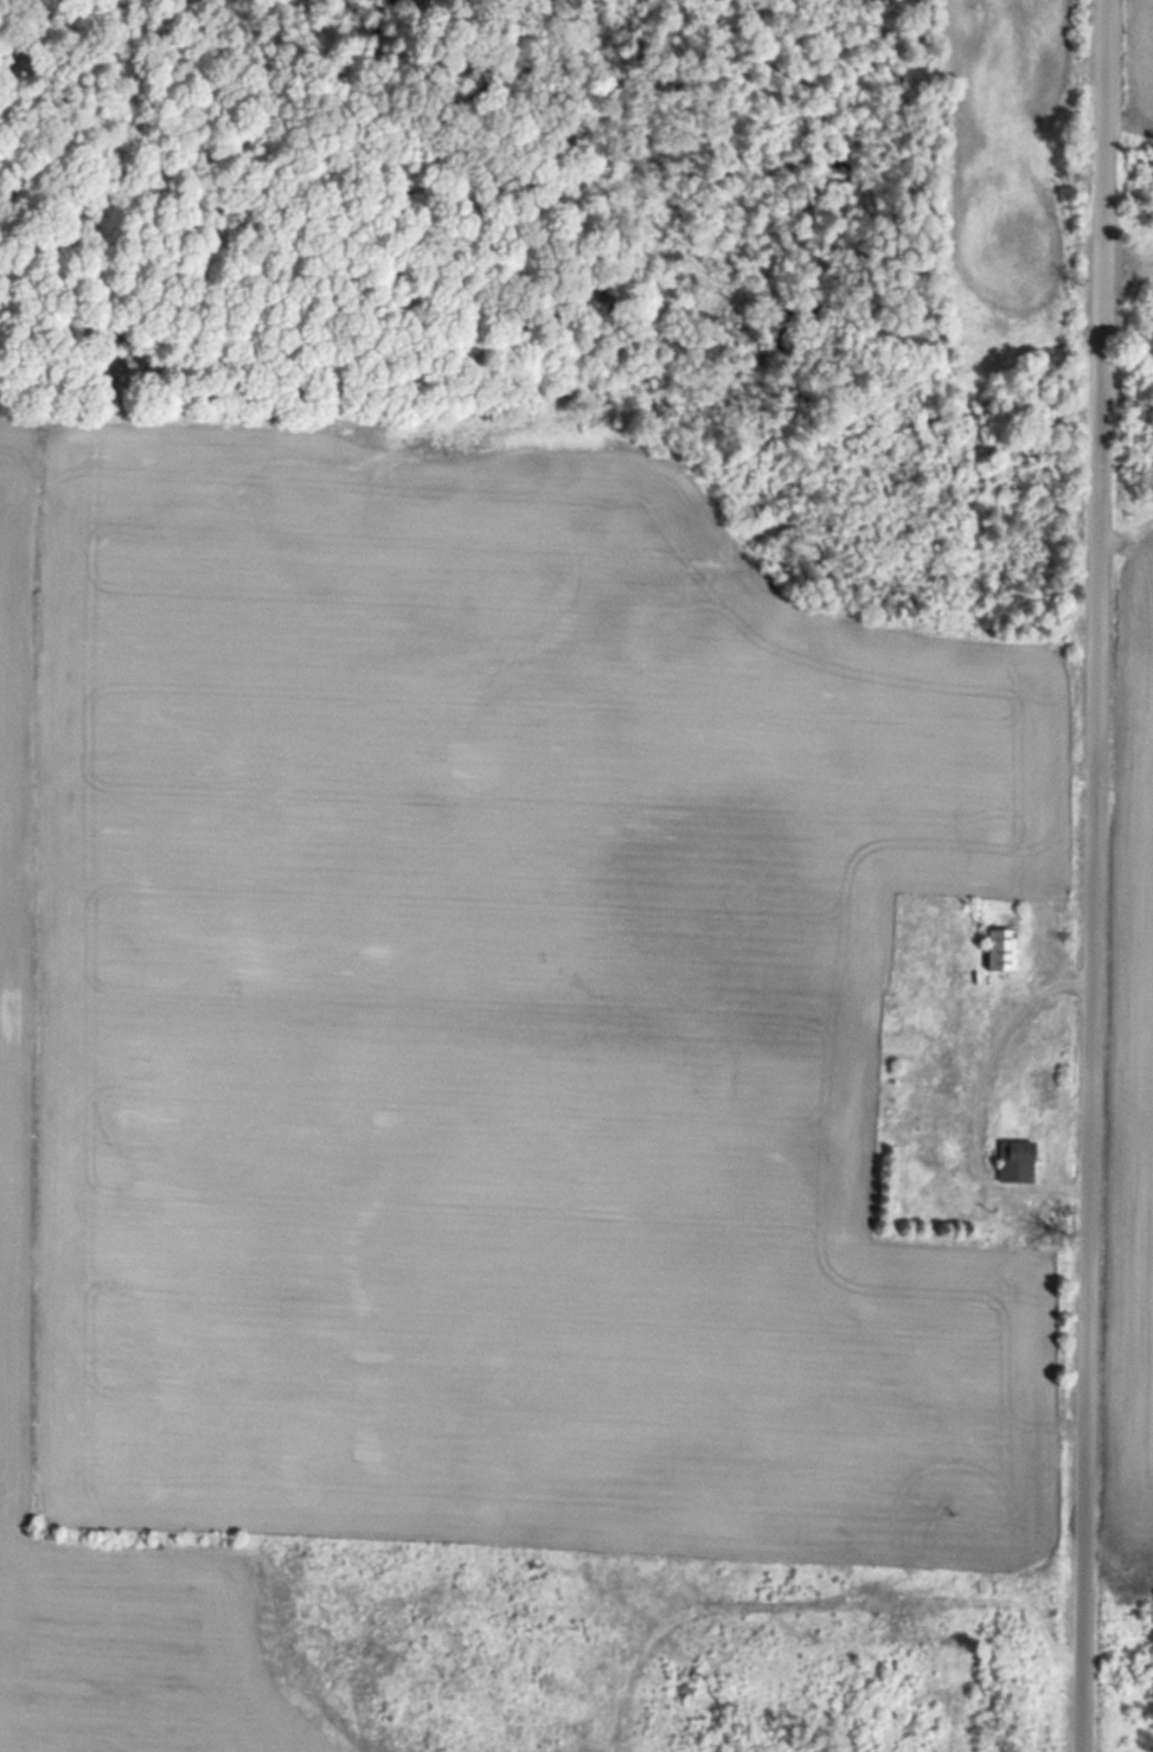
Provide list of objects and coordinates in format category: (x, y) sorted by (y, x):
road: (1098, 875)
building: (1004, 946)
building: (1016, 1160)

